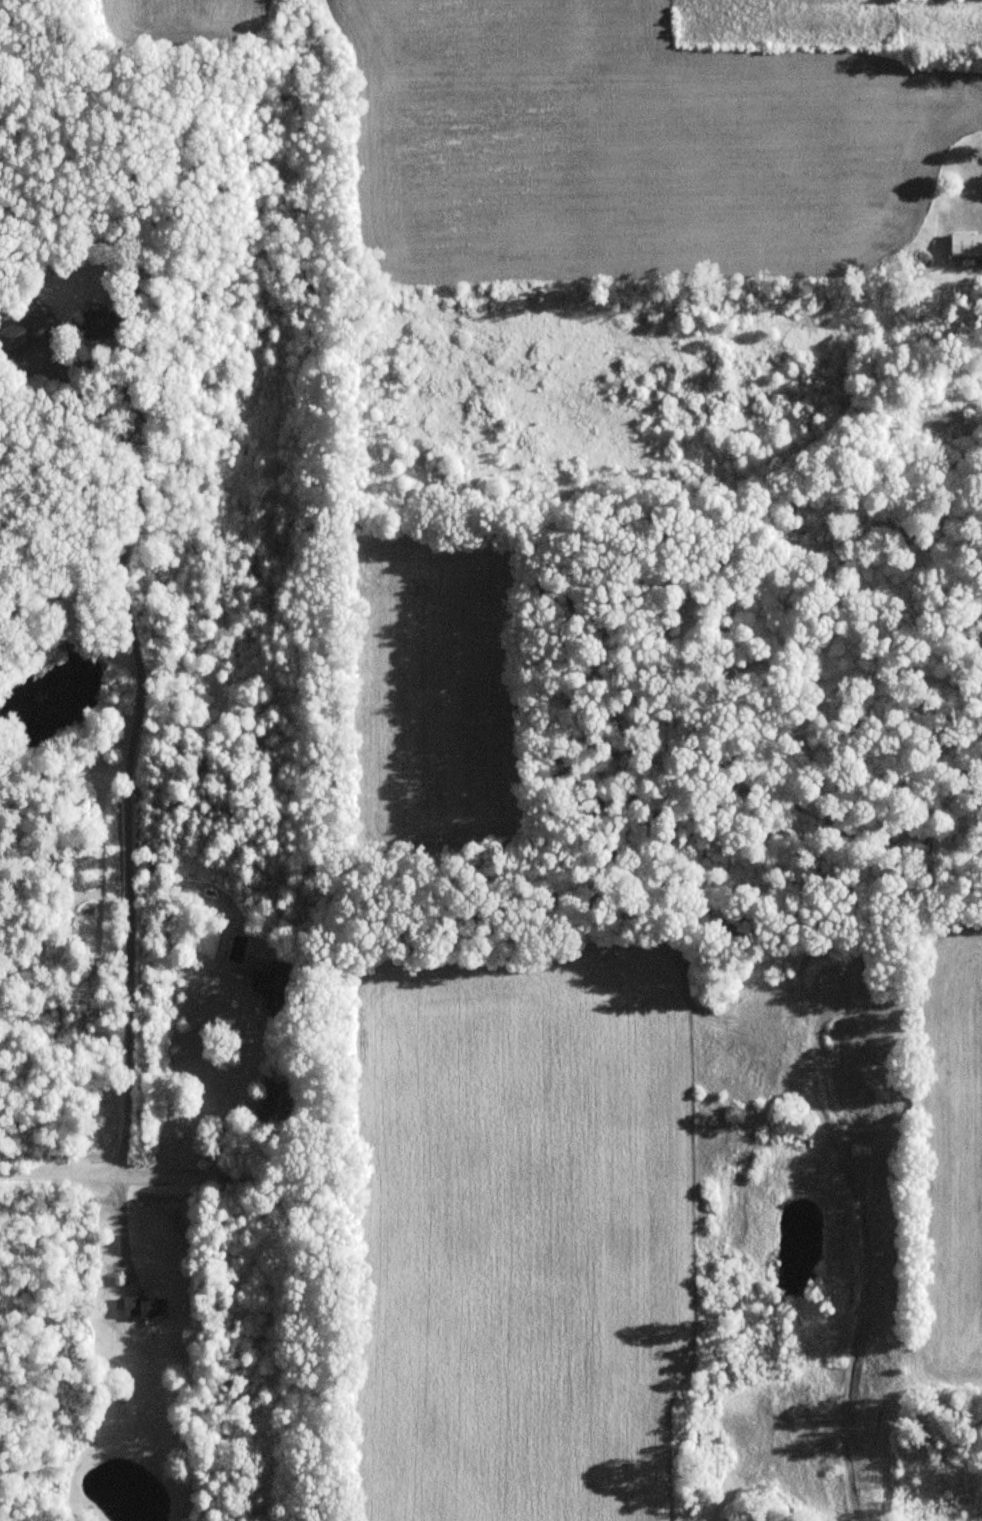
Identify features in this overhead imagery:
building: (966, 245)
building: (57, 329)
road: (129, 807)
building: (268, 982)
road: (235, 1100)
building: (276, 1100)
road: (155, 1178)
road: (123, 1228)
building: (144, 1306)

